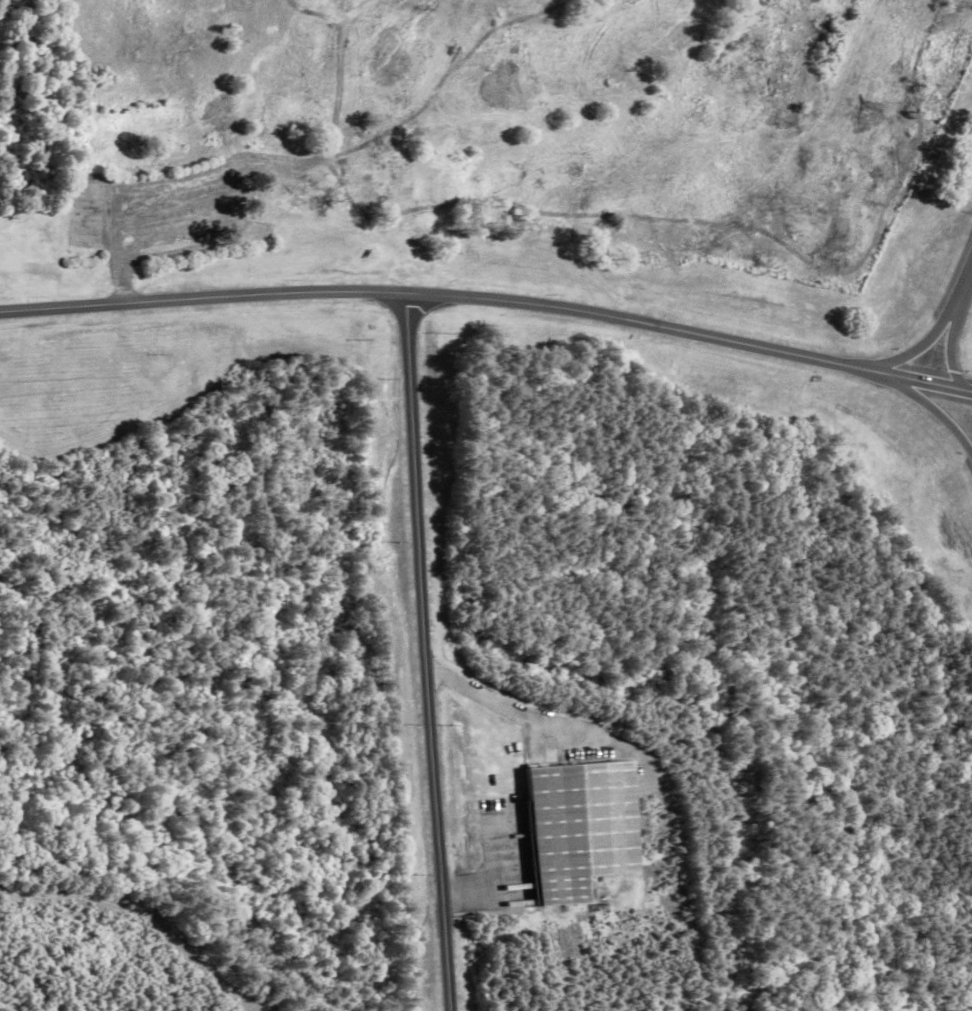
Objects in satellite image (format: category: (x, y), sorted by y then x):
building: (284, 200)
building: (89, 209)
road: (120, 250)
road: (966, 281)
road: (489, 299)
road: (953, 344)
road: (924, 345)
road: (927, 403)
road: (428, 652)
road: (509, 709)
building: (581, 828)

